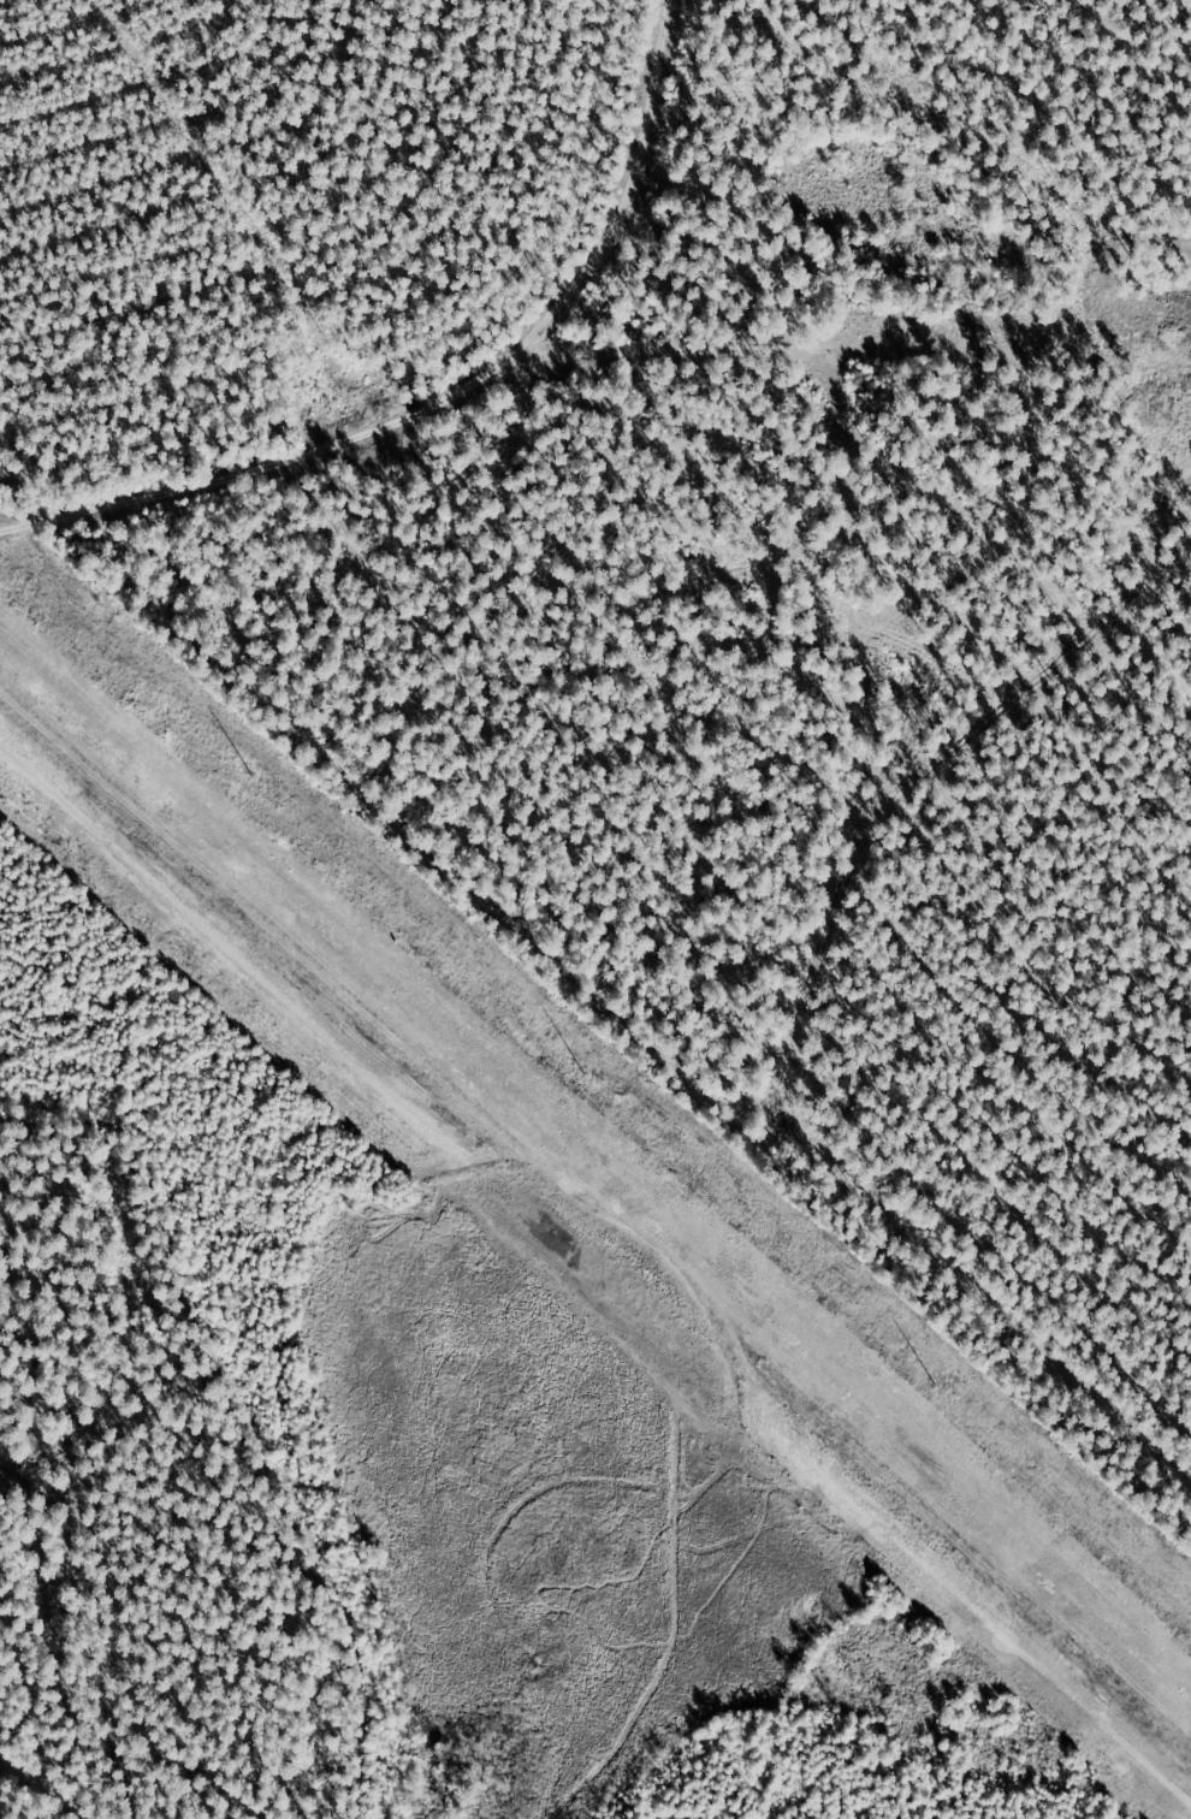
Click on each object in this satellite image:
road: (7, 505)
power tower: (248, 772)
power tower: (594, 1082)
power tower: (942, 1388)

